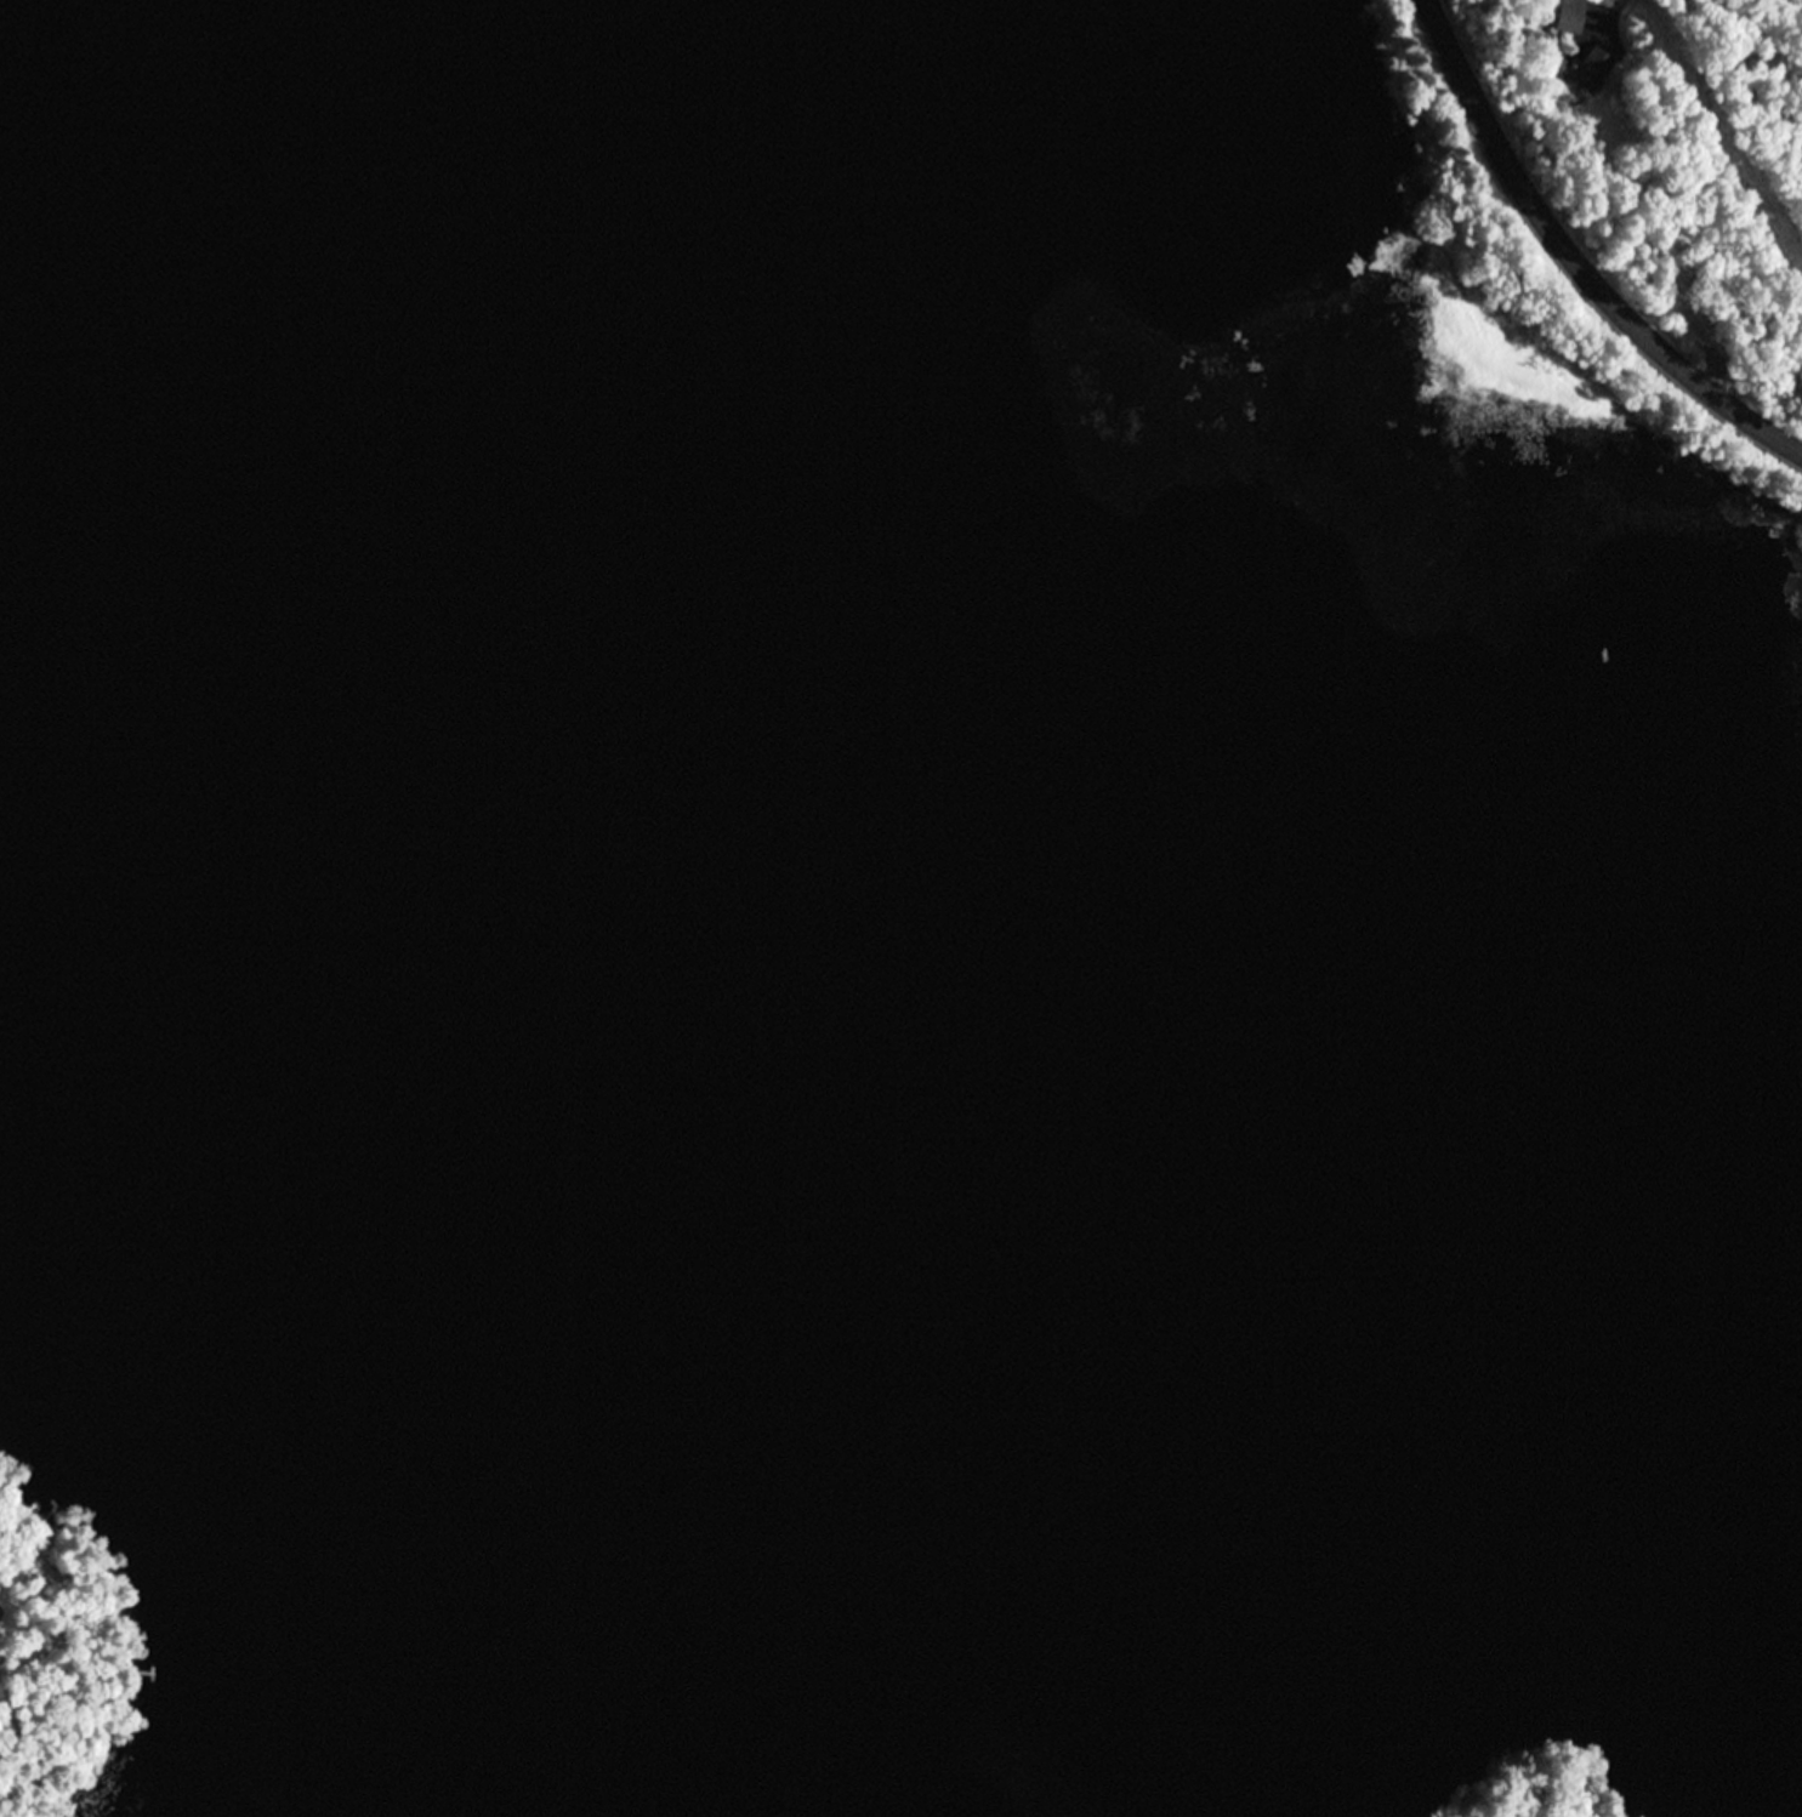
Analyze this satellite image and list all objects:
road: (1576, 252)
road: (10, 1653)

